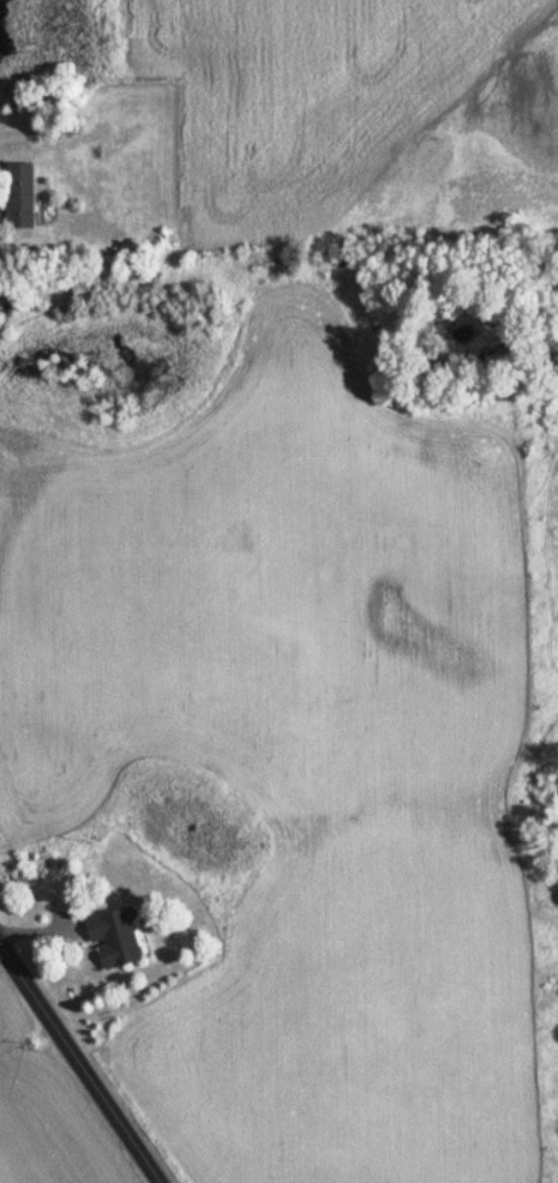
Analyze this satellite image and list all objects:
building: (16, 196)
building: (109, 939)
road: (79, 1064)

